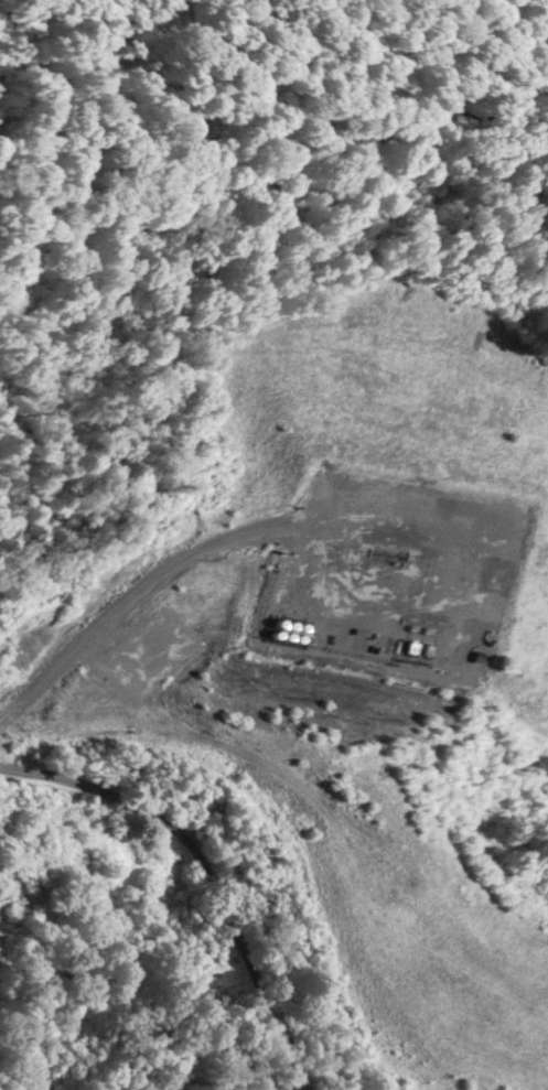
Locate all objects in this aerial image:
building: (36, 824)
road: (205, 871)

